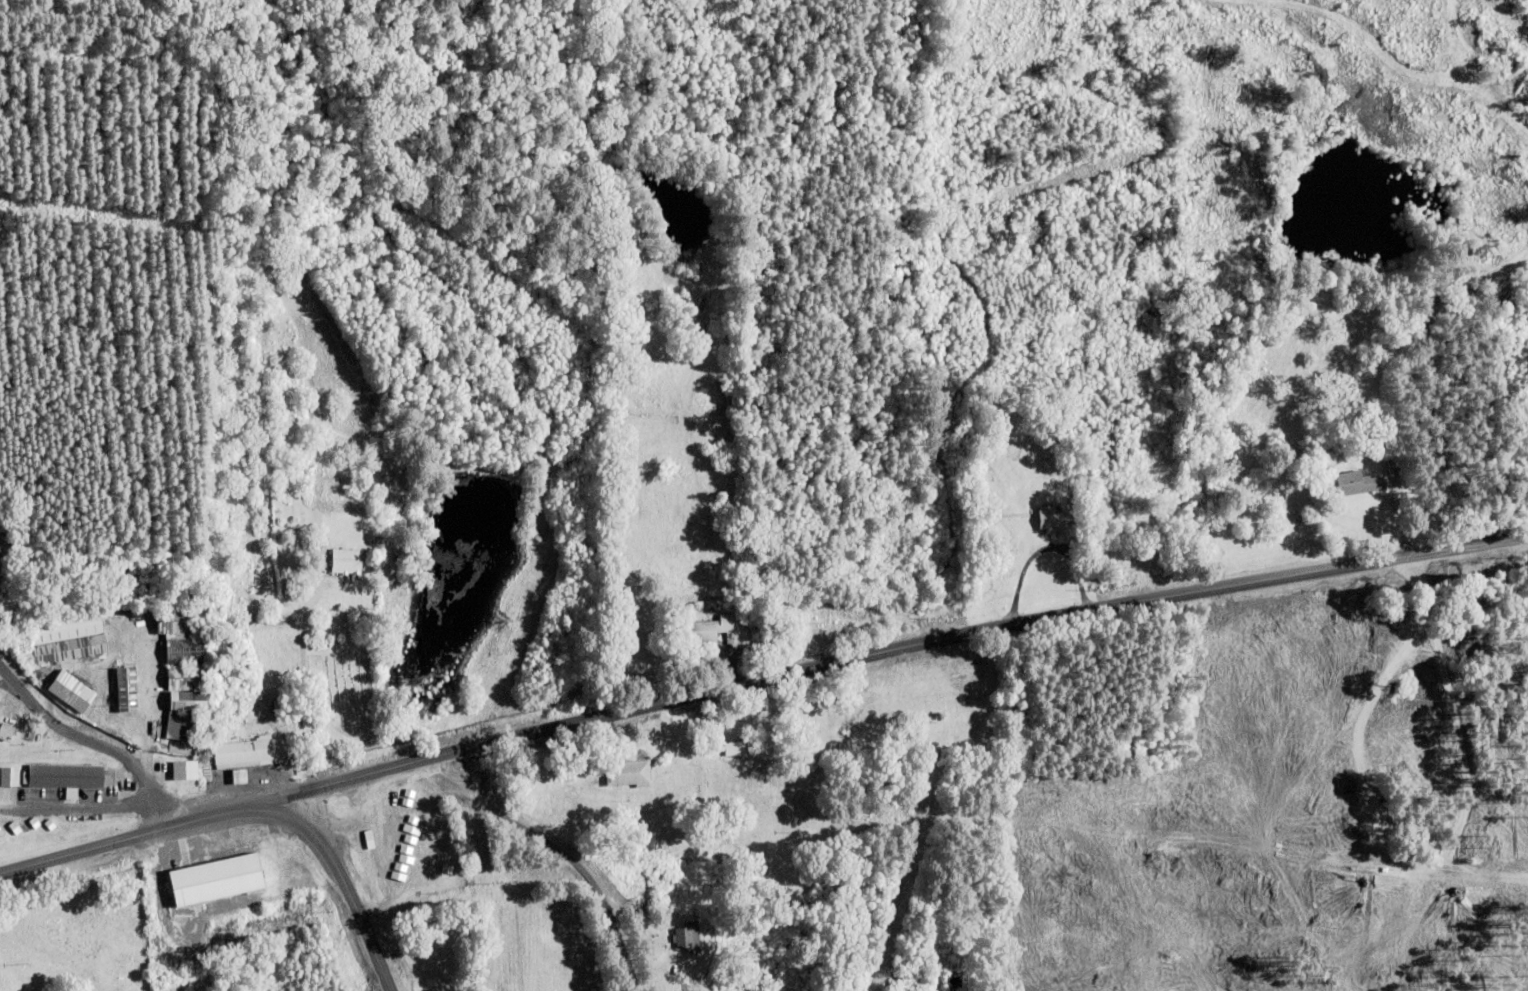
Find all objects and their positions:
building: (1358, 483)
building: (1051, 517)
building: (347, 561)
building: (175, 621)
building: (816, 621)
building: (66, 627)
building: (705, 630)
building: (1416, 643)
road: (885, 650)
building: (109, 689)
building: (75, 699)
building: (188, 726)
road: (92, 740)
building: (736, 748)
building: (250, 752)
building: (185, 769)
building: (629, 773)
building: (10, 775)
building: (71, 776)
road: (81, 808)
road: (245, 808)
building: (391, 811)
road: (562, 848)
building: (220, 862)
building: (690, 936)

